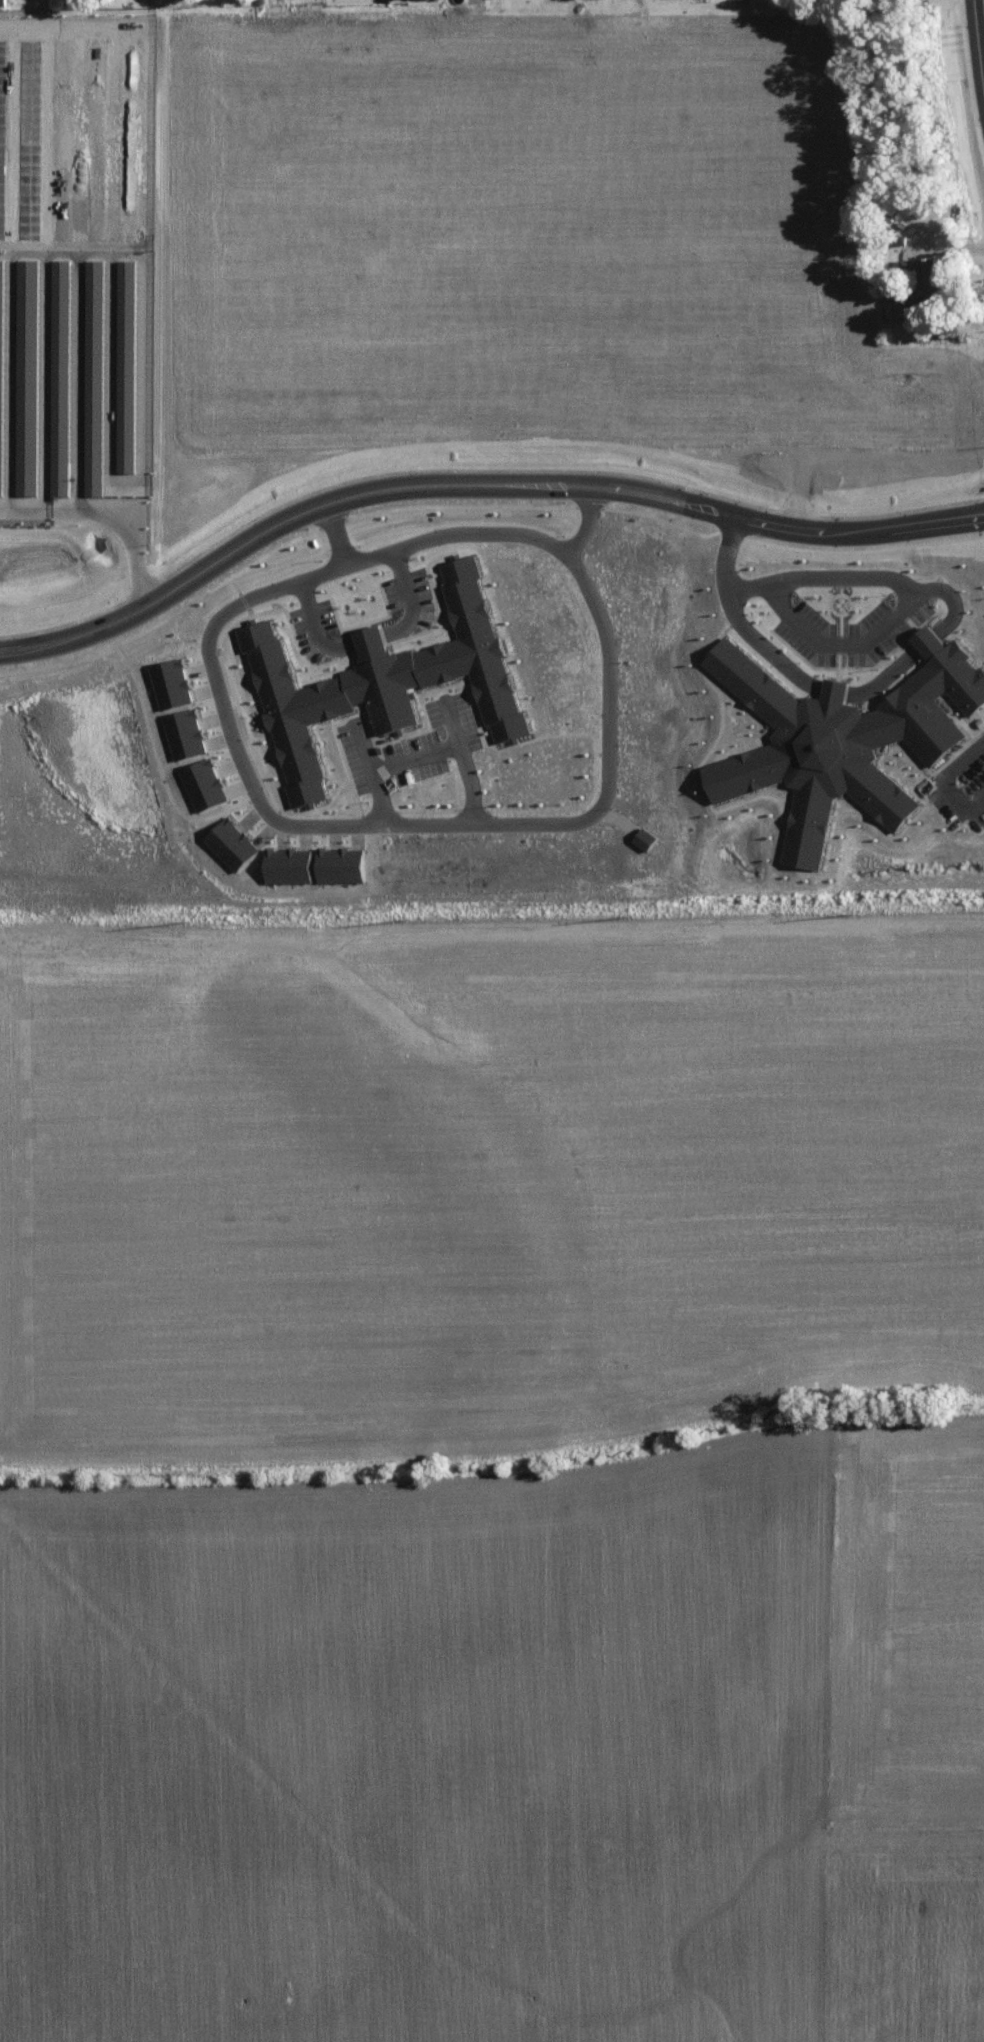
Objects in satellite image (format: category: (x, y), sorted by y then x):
road: (975, 55)
road: (919, 237)
road: (976, 249)
building: (127, 277)
building: (930, 280)
building: (28, 297)
building: (61, 297)
building: (1, 364)
building: (95, 474)
building: (61, 476)
building: (27, 478)
road: (328, 500)
road: (710, 508)
road: (585, 520)
road: (917, 524)
road: (790, 526)
road: (331, 530)
road: (880, 576)
road: (369, 638)
building: (383, 678)
building: (170, 683)
building: (185, 732)
building: (842, 737)
road: (413, 754)
road: (464, 760)
road: (370, 770)
road: (943, 779)
building: (203, 781)
road: (508, 823)
building: (645, 837)
building: (231, 840)
building: (342, 862)
building: (290, 863)

